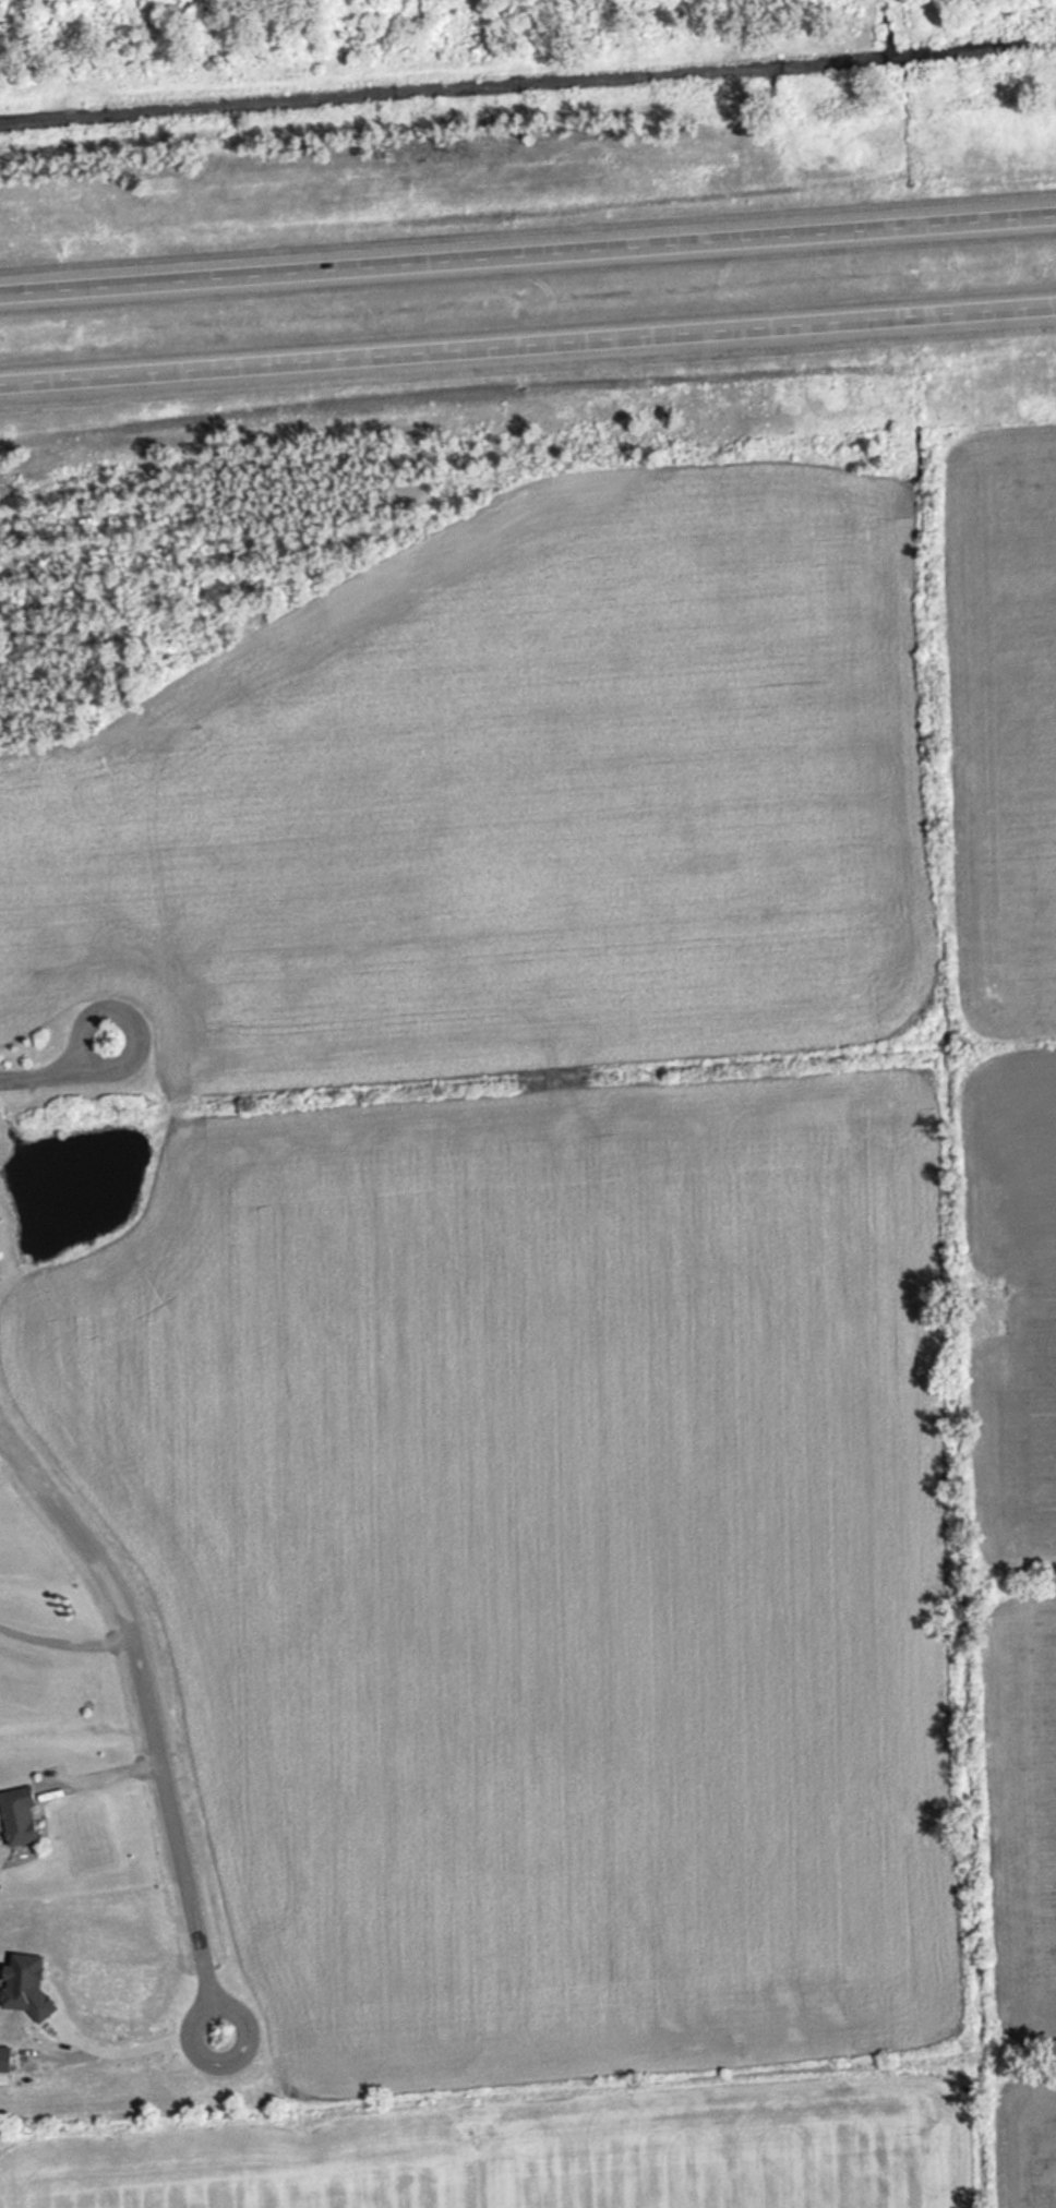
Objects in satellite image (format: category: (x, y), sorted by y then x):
road: (527, 252)
road: (528, 345)
road: (104, 1008)
road: (48, 1079)
road: (2, 1441)
road: (64, 1640)
road: (147, 1701)
road: (98, 1773)
building: (24, 1813)
road: (123, 2043)
road: (202, 2056)

